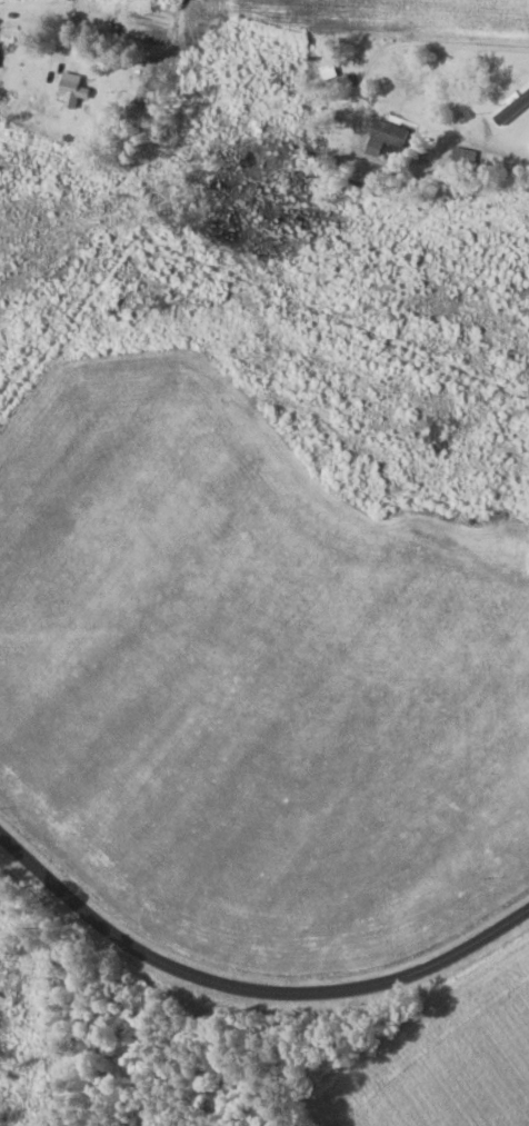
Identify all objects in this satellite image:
building: (69, 88)
building: (387, 132)
building: (462, 157)
road: (249, 987)

